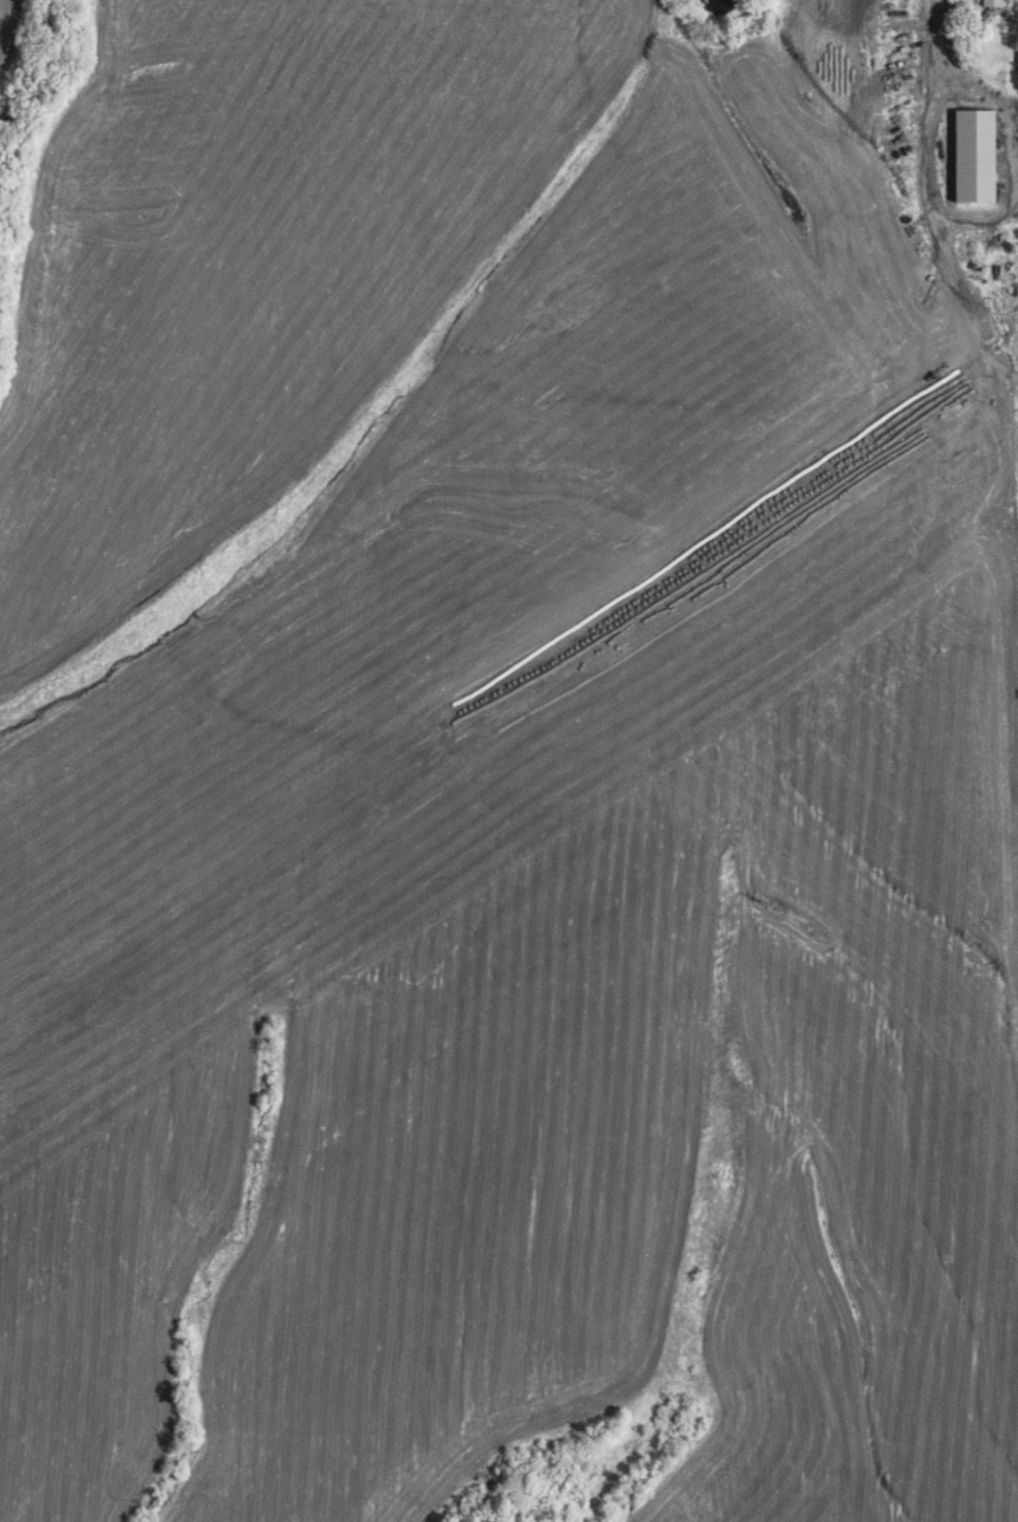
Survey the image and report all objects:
building: (992, 3)
road: (941, 76)
building: (969, 157)
road: (947, 222)

